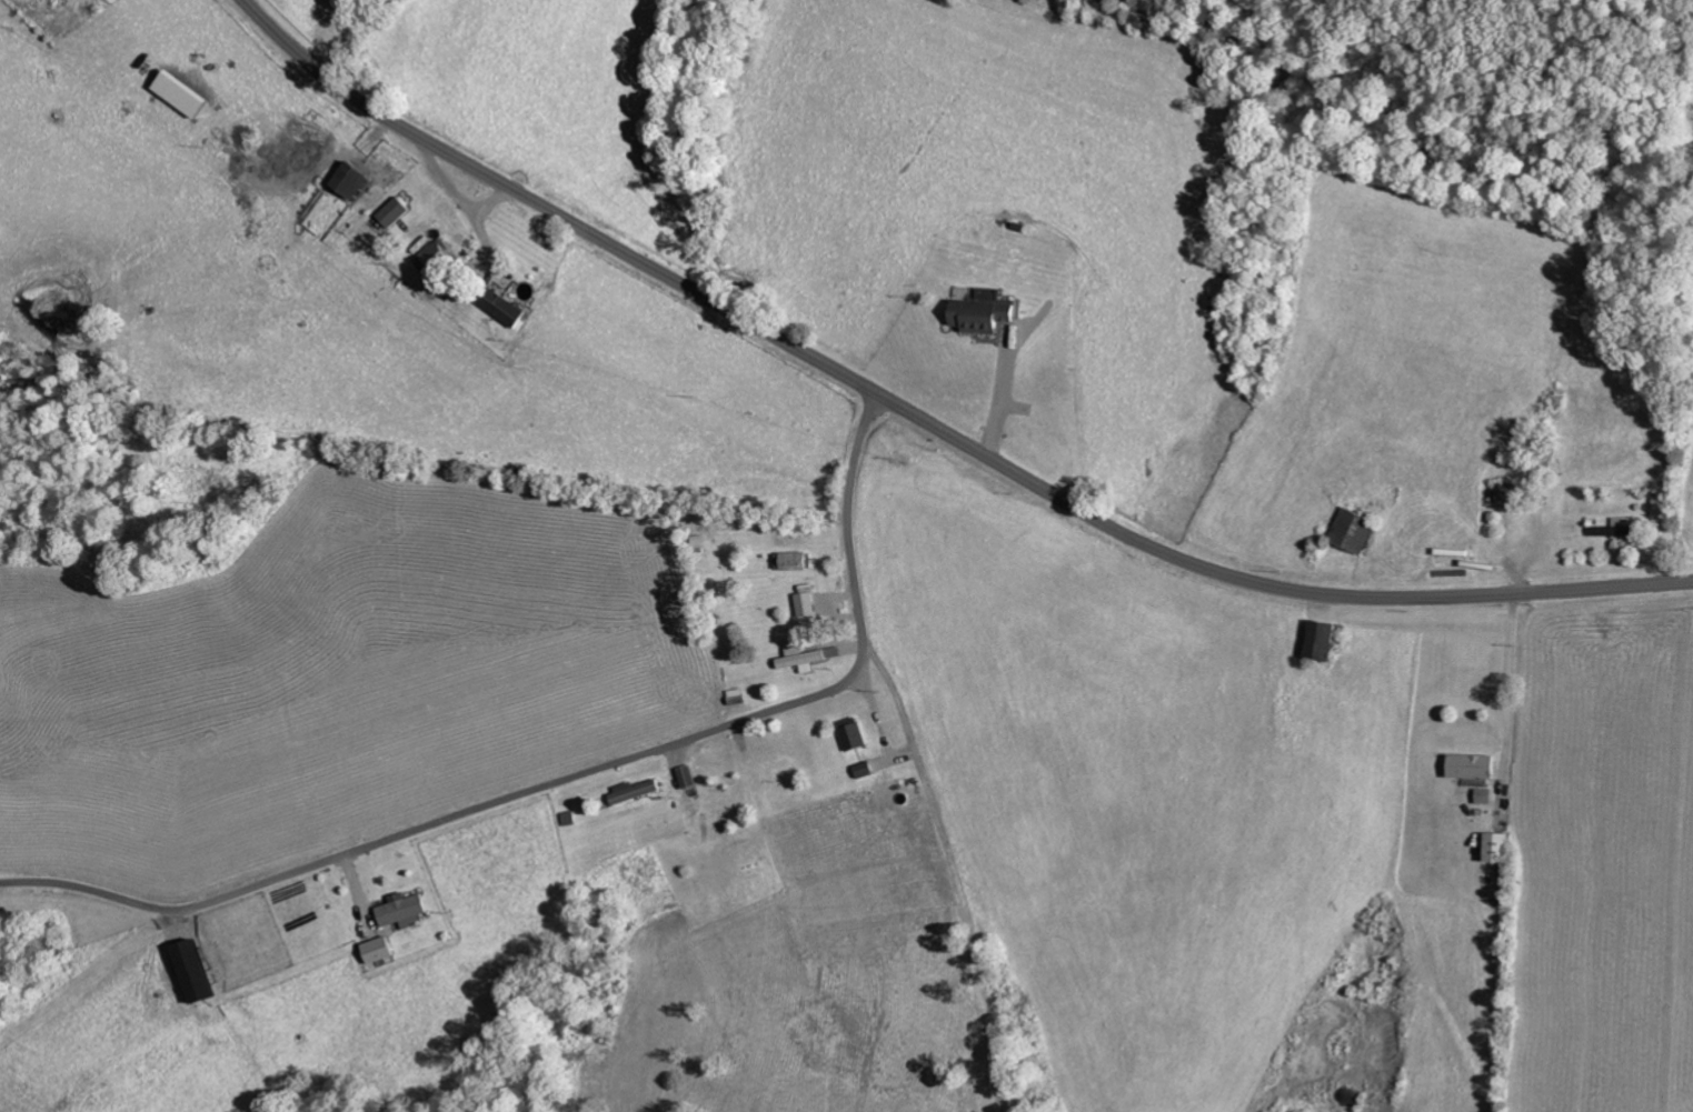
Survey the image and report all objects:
building: (179, 94)
building: (351, 180)
building: (391, 211)
building: (430, 259)
building: (501, 307)
building: (979, 312)
road: (926, 422)
building: (1613, 528)
building: (1352, 529)
building: (795, 561)
building: (806, 603)
building: (1319, 640)
building: (800, 657)
building: (850, 737)
building: (1468, 764)
building: (684, 775)
road: (568, 779)
building: (630, 790)
road: (594, 797)
building: (1494, 845)
building: (400, 908)
building: (375, 948)
building: (190, 969)

